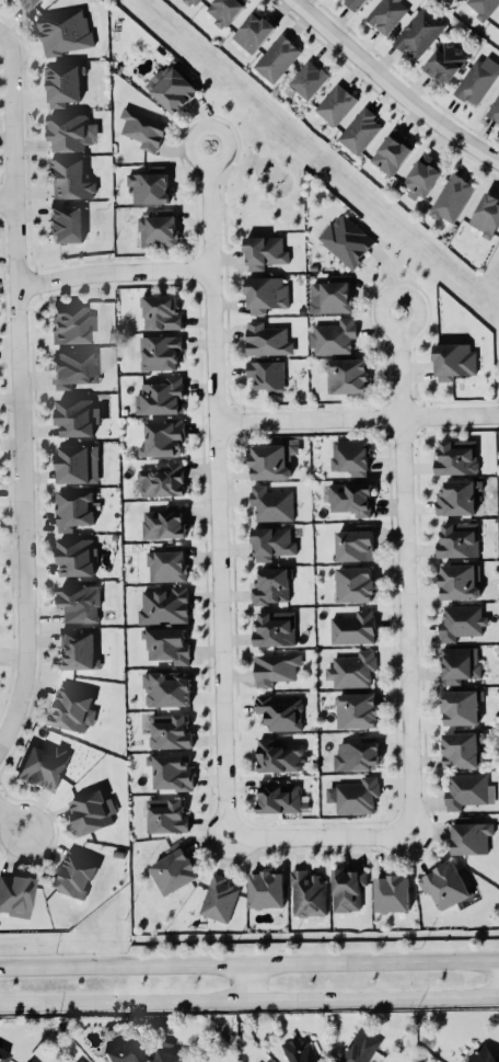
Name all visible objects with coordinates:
building: (356, 2)
building: (26, 3)
building: (481, 7)
building: (224, 10)
building: (386, 13)
building: (65, 30)
road: (2, 32)
building: (253, 32)
building: (418, 32)
building: (498, 32)
building: (277, 57)
building: (444, 60)
building: (307, 78)
building: (478, 78)
building: (63, 83)
road: (395, 83)
building: (172, 88)
building: (336, 103)
building: (494, 109)
building: (143, 127)
building: (360, 129)
building: (70, 132)
building: (392, 151)
building: (421, 175)
building: (69, 178)
building: (149, 184)
road: (9, 197)
building: (451, 197)
building: (486, 215)
building: (66, 224)
building: (158, 227)
building: (346, 239)
building: (264, 251)
road: (116, 270)
building: (265, 293)
building: (332, 294)
building: (160, 312)
building: (71, 323)
building: (333, 336)
building: (266, 339)
building: (159, 351)
building: (453, 359)
building: (74, 367)
building: (266, 374)
building: (347, 375)
road: (21, 390)
building: (161, 396)
building: (76, 415)
road: (357, 415)
building: (162, 437)
park: (498, 448)
building: (350, 455)
building: (456, 456)
building: (271, 459)
building: (77, 463)
building: (162, 479)
road: (219, 491)
building: (457, 496)
building: (350, 498)
building: (271, 502)
building: (73, 509)
building: (164, 522)
building: (457, 539)
building: (271, 541)
building: (355, 543)
building: (76, 556)
building: (166, 562)
road: (404, 570)
building: (460, 581)
building: (355, 583)
building: (271, 584)
building: (79, 603)
building: (163, 605)
building: (461, 620)
building: (353, 627)
building: (275, 628)
building: (166, 643)
building: (78, 650)
building: (460, 663)
building: (275, 666)
building: (352, 669)
building: (166, 687)
building: (461, 706)
building: (71, 708)
building: (356, 709)
building: (280, 711)
building: (169, 730)
building: (462, 749)
building: (357, 754)
building: (278, 755)
building: (43, 766)
building: (171, 770)
building: (468, 789)
building: (357, 795)
building: (279, 797)
building: (91, 811)
building: (165, 814)
road: (12, 815)
road: (321, 834)
building: (469, 835)
building: (174, 868)
building: (73, 872)
building: (444, 884)
building: (266, 888)
building: (347, 888)
building: (391, 892)
building: (307, 893)
building: (15, 894)
building: (219, 898)
road: (249, 961)
road: (251, 980)
road: (248, 997)
building: (360, 1047)
building: (299, 1051)
building: (123, 1052)
building: (167, 1052)
building: (3, 1054)
building: (480, 1054)
building: (32, 1060)
building: (81, 1060)
building: (263, 1060)

